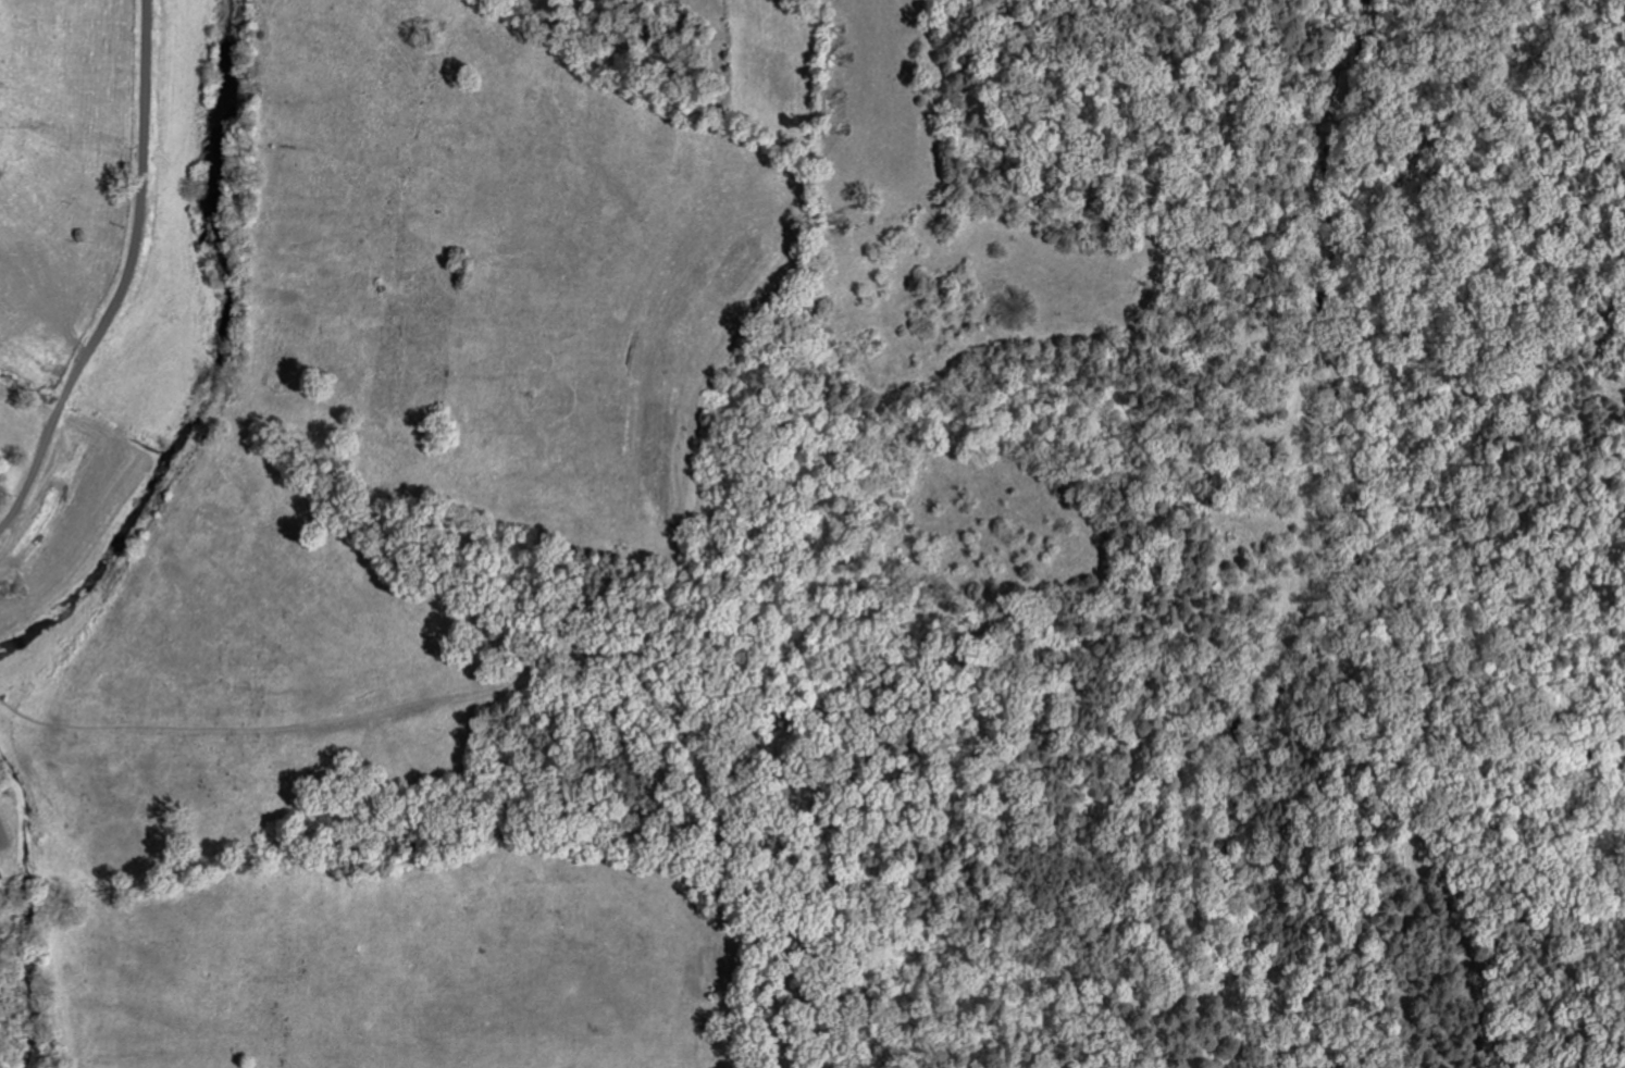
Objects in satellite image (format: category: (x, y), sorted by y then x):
road: (125, 280)

